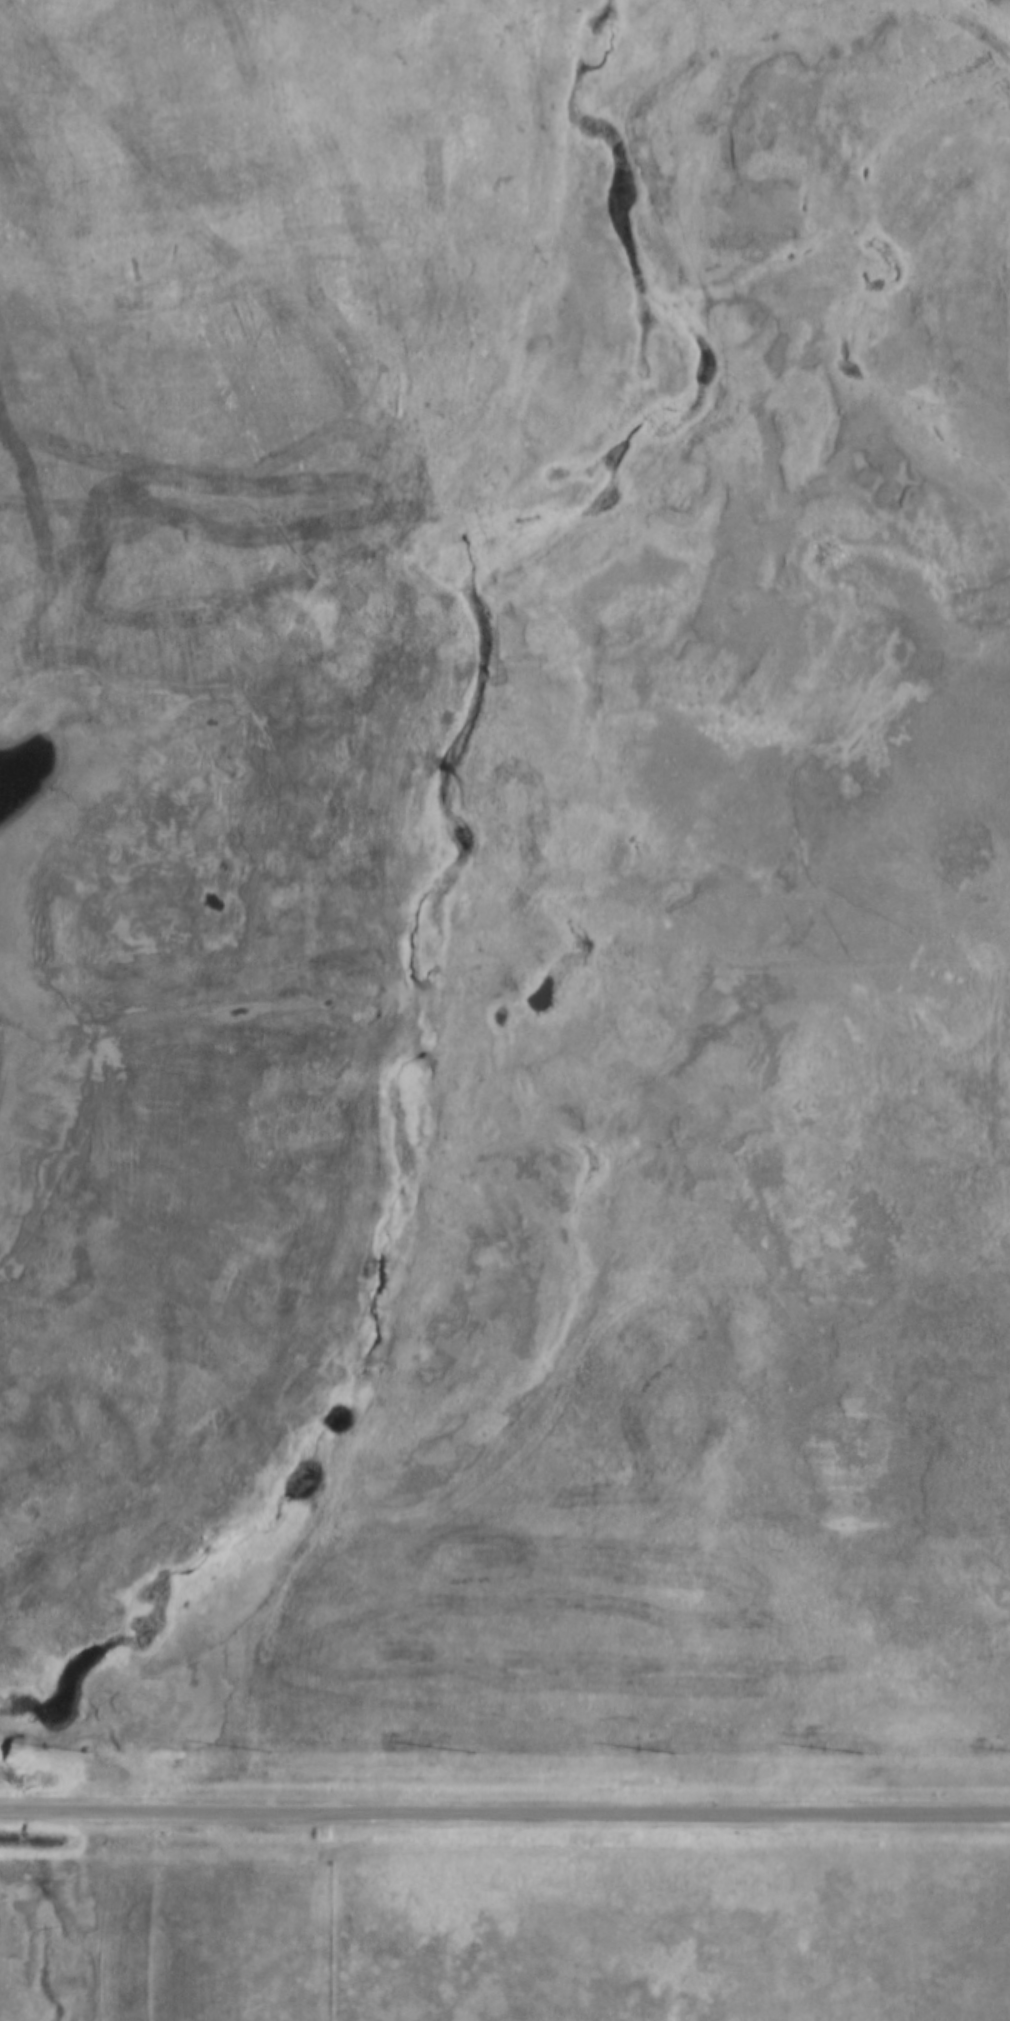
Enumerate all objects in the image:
road: (504, 1811)

